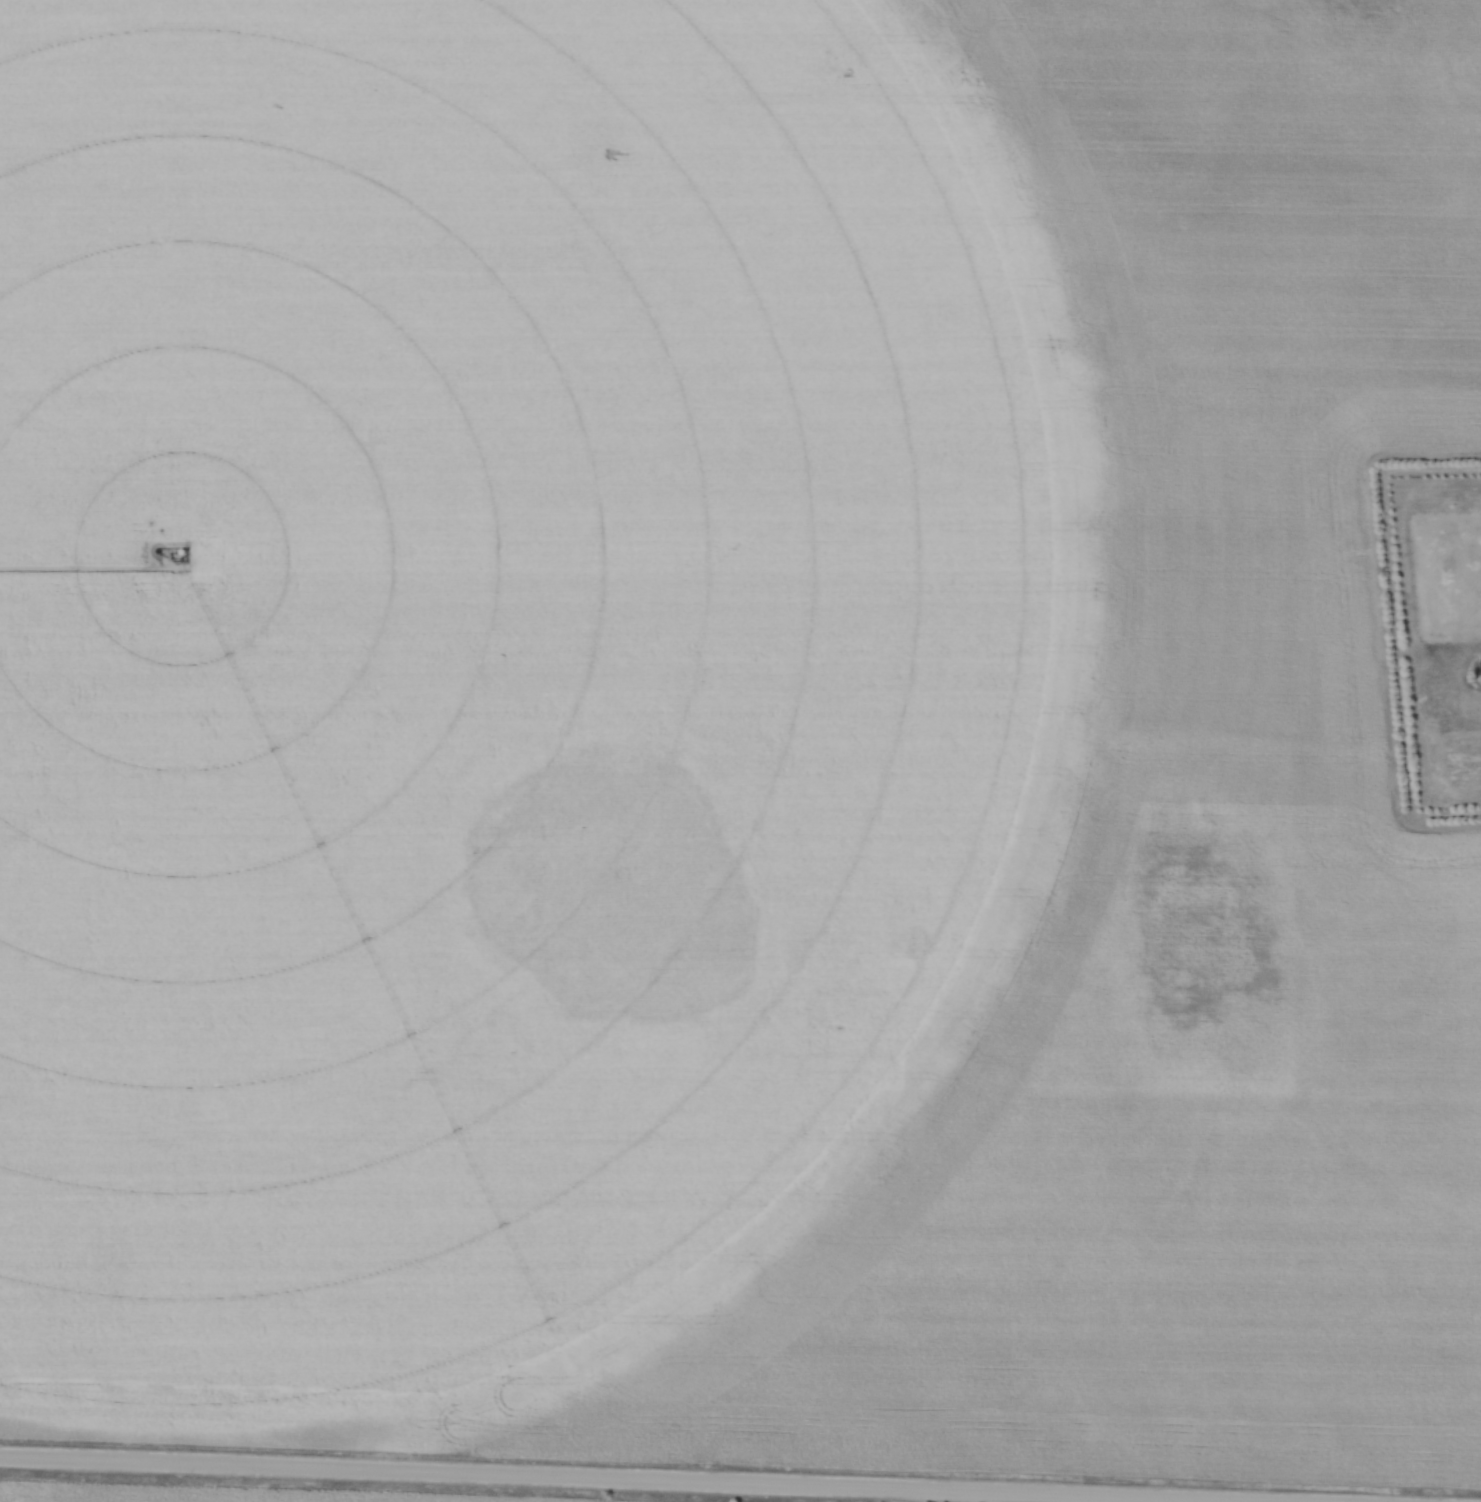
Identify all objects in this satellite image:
building: (1479, 670)
road: (662, 1480)

